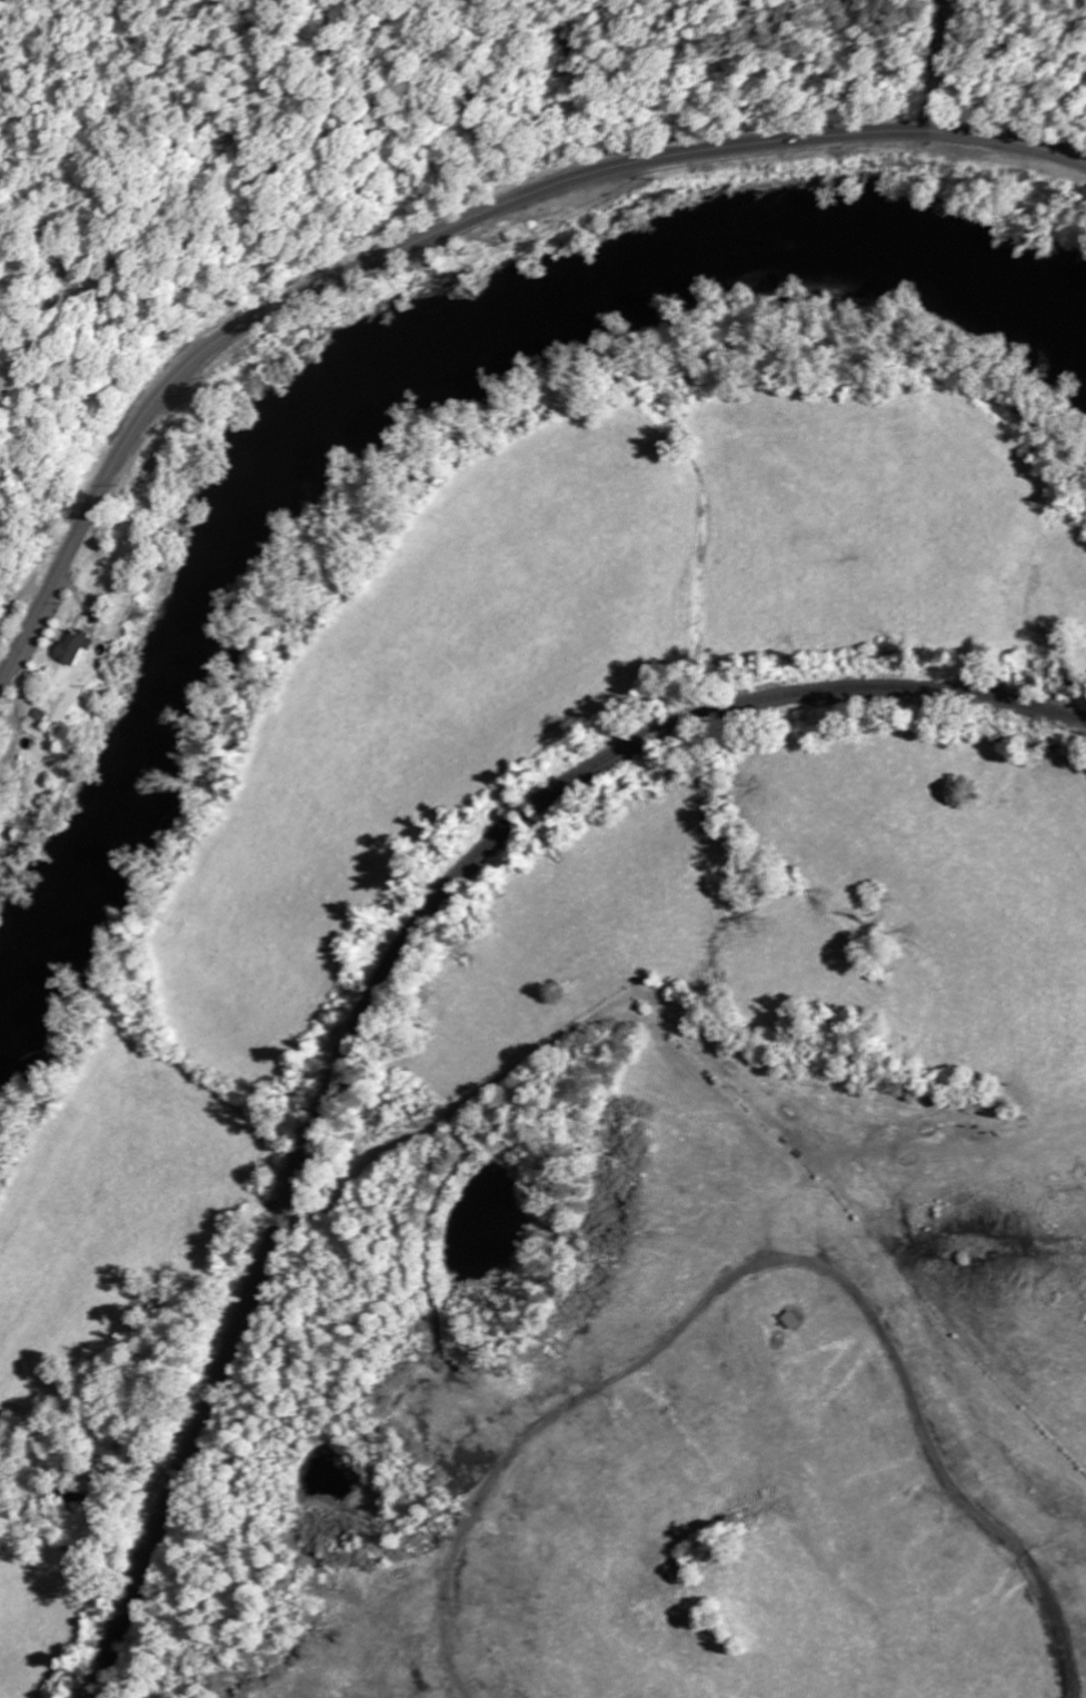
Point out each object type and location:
road: (326, 16)
road: (444, 230)
river: (392, 359)
building: (0, 545)
building: (82, 647)
railway: (387, 949)

